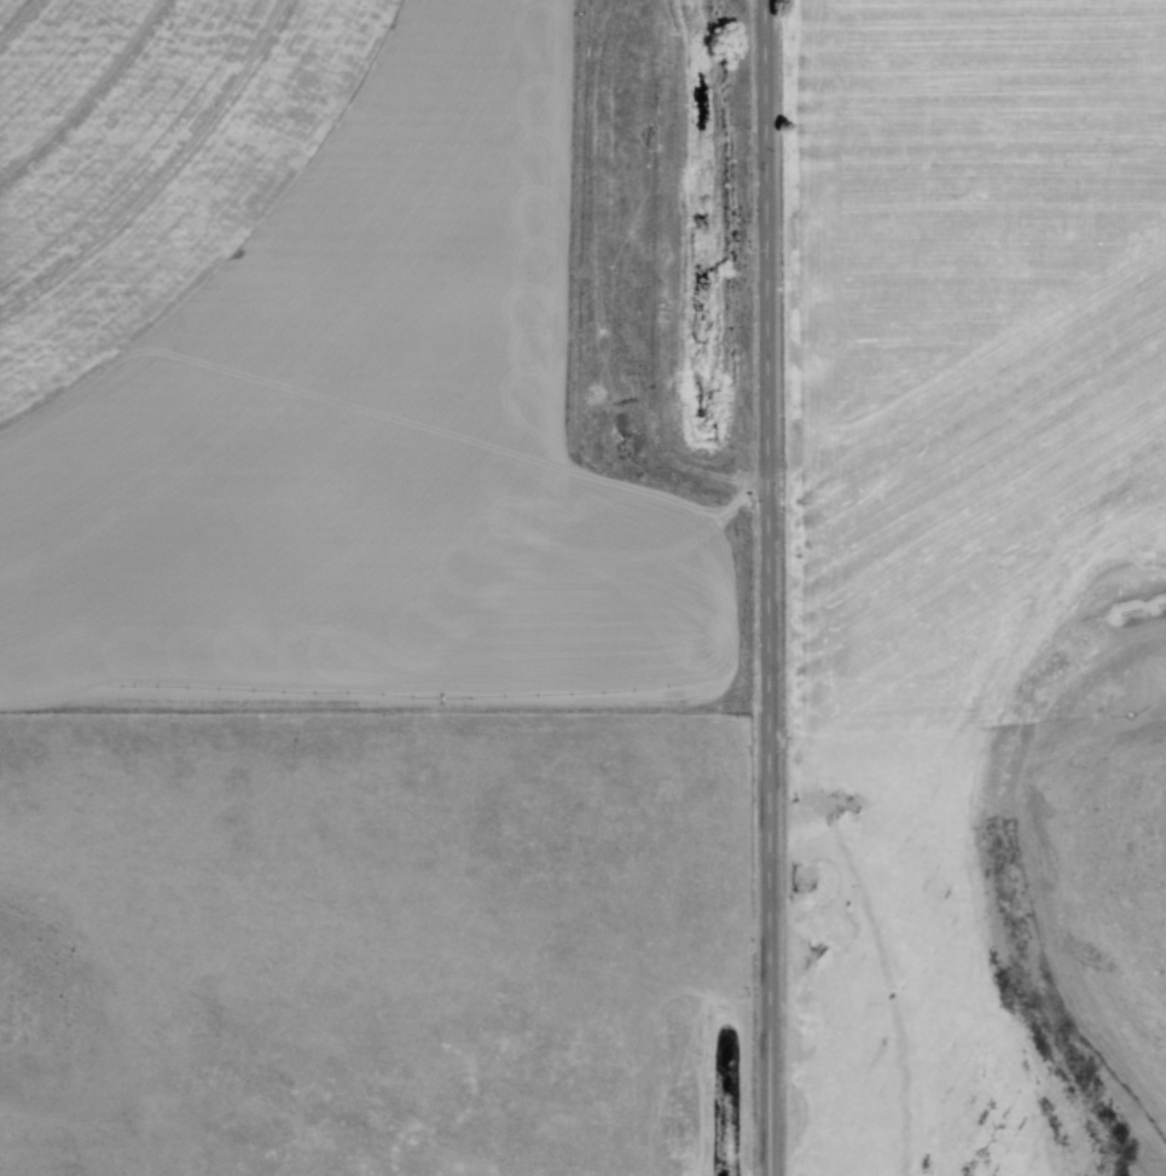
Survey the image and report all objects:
wastewater plant: (678, 208)
road: (760, 587)

